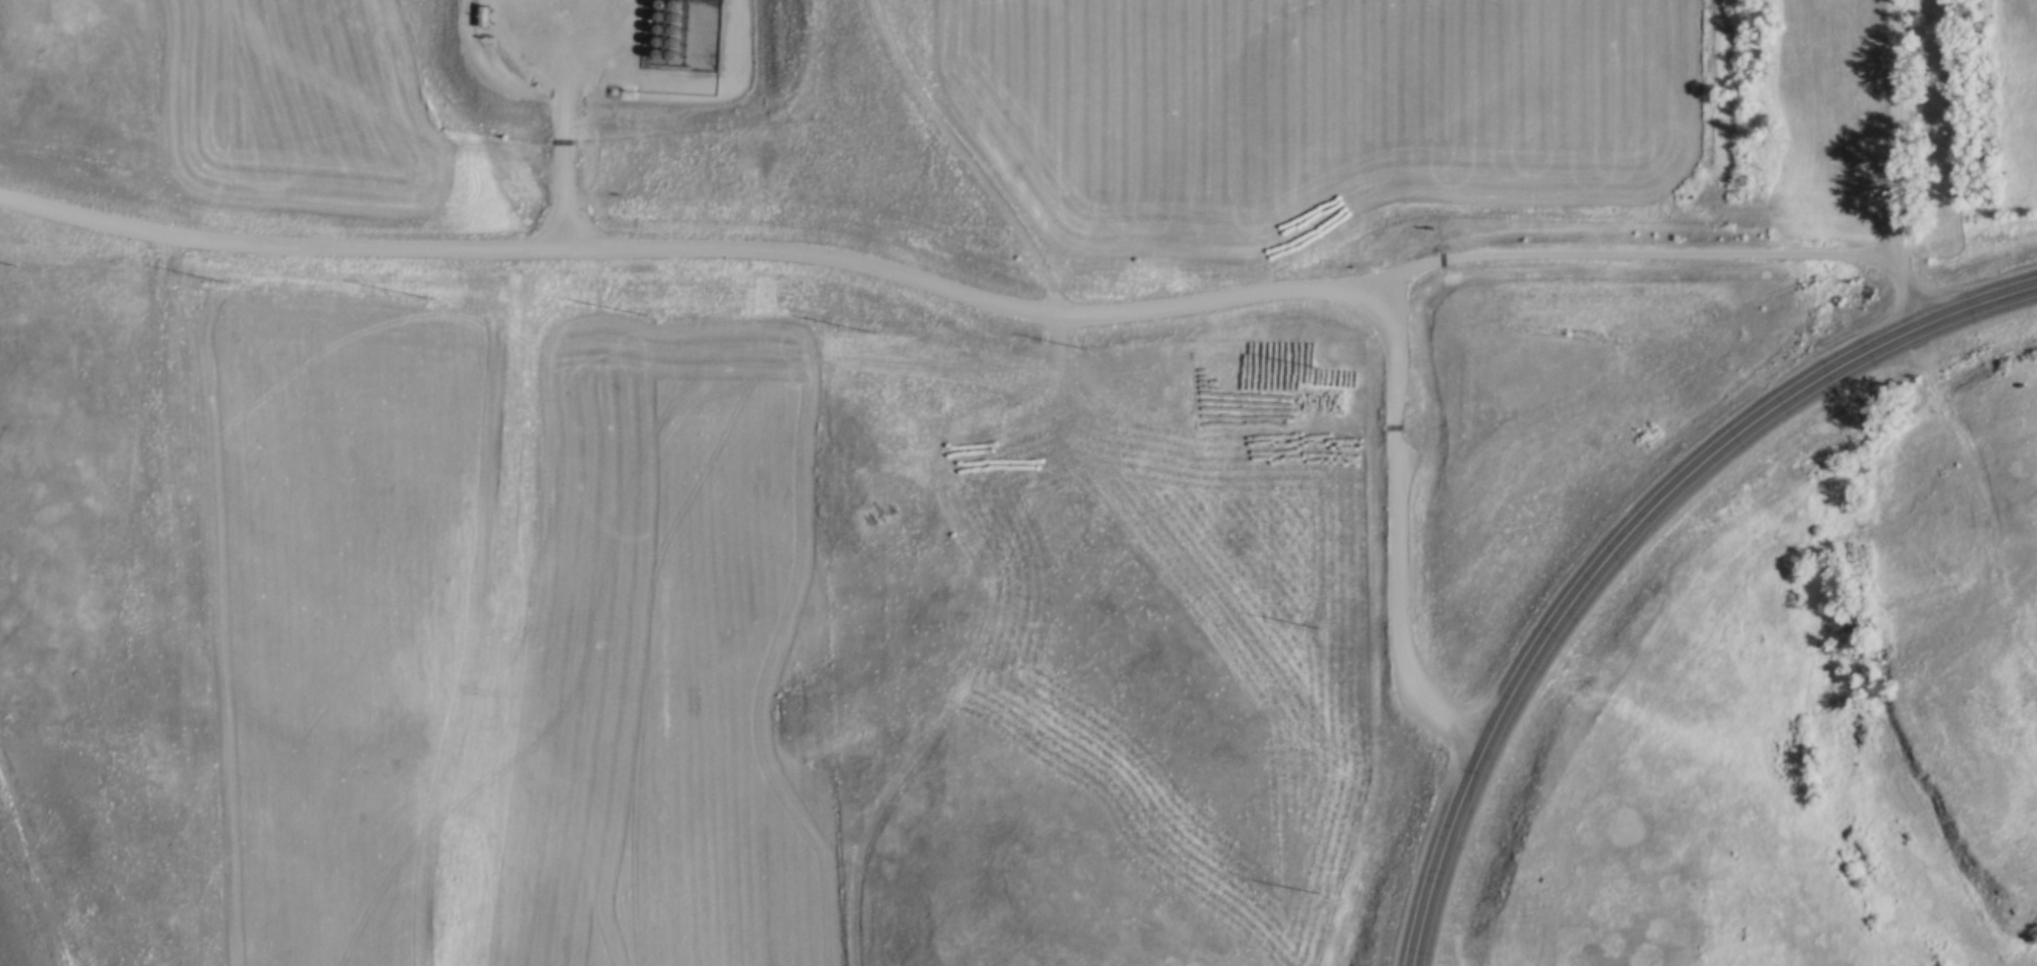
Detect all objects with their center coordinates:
road: (491, 133)
road: (1899, 166)
road: (1634, 255)
road: (961, 296)
road: (1624, 534)

